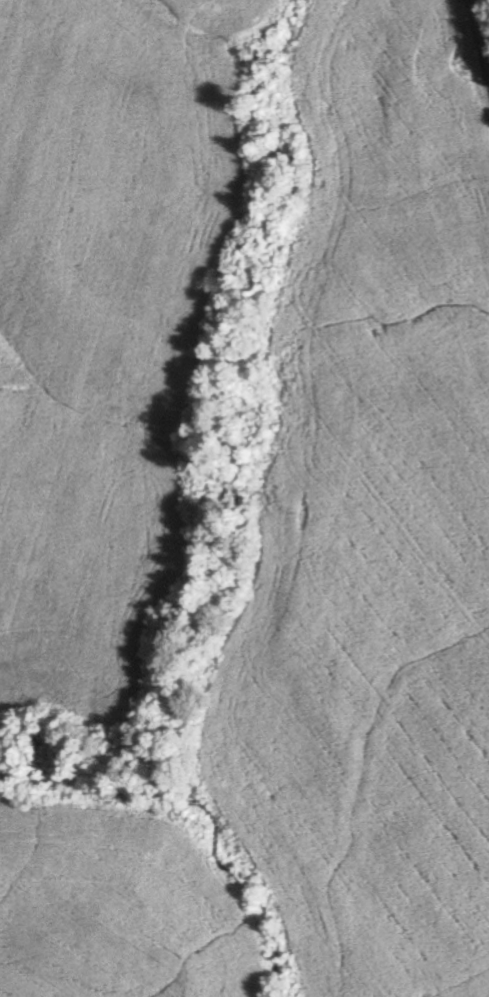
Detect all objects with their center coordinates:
road: (480, 33)

